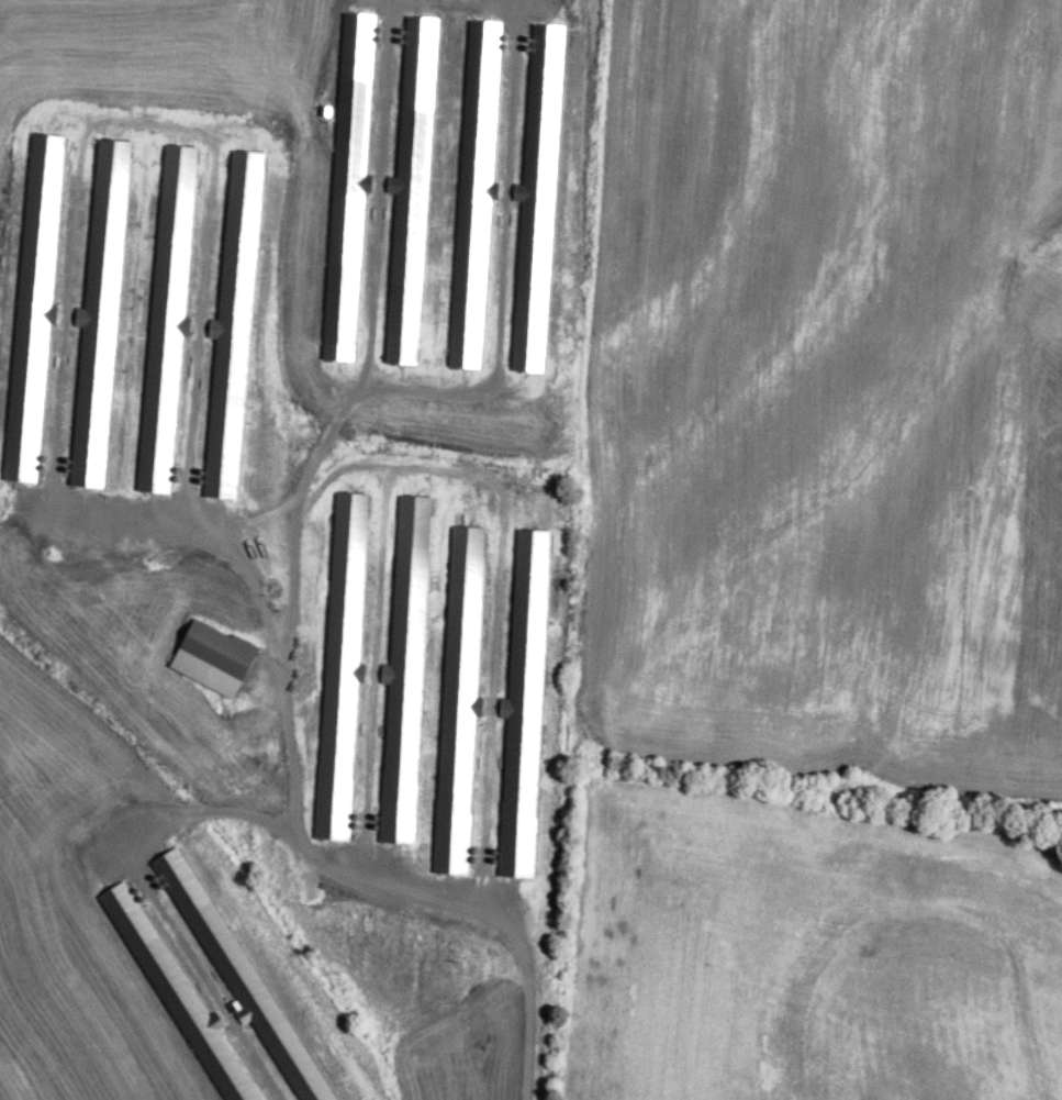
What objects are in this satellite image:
building: (221, 651)
building: (342, 664)
building: (406, 669)
building: (459, 699)
building: (524, 708)
road: (321, 860)

